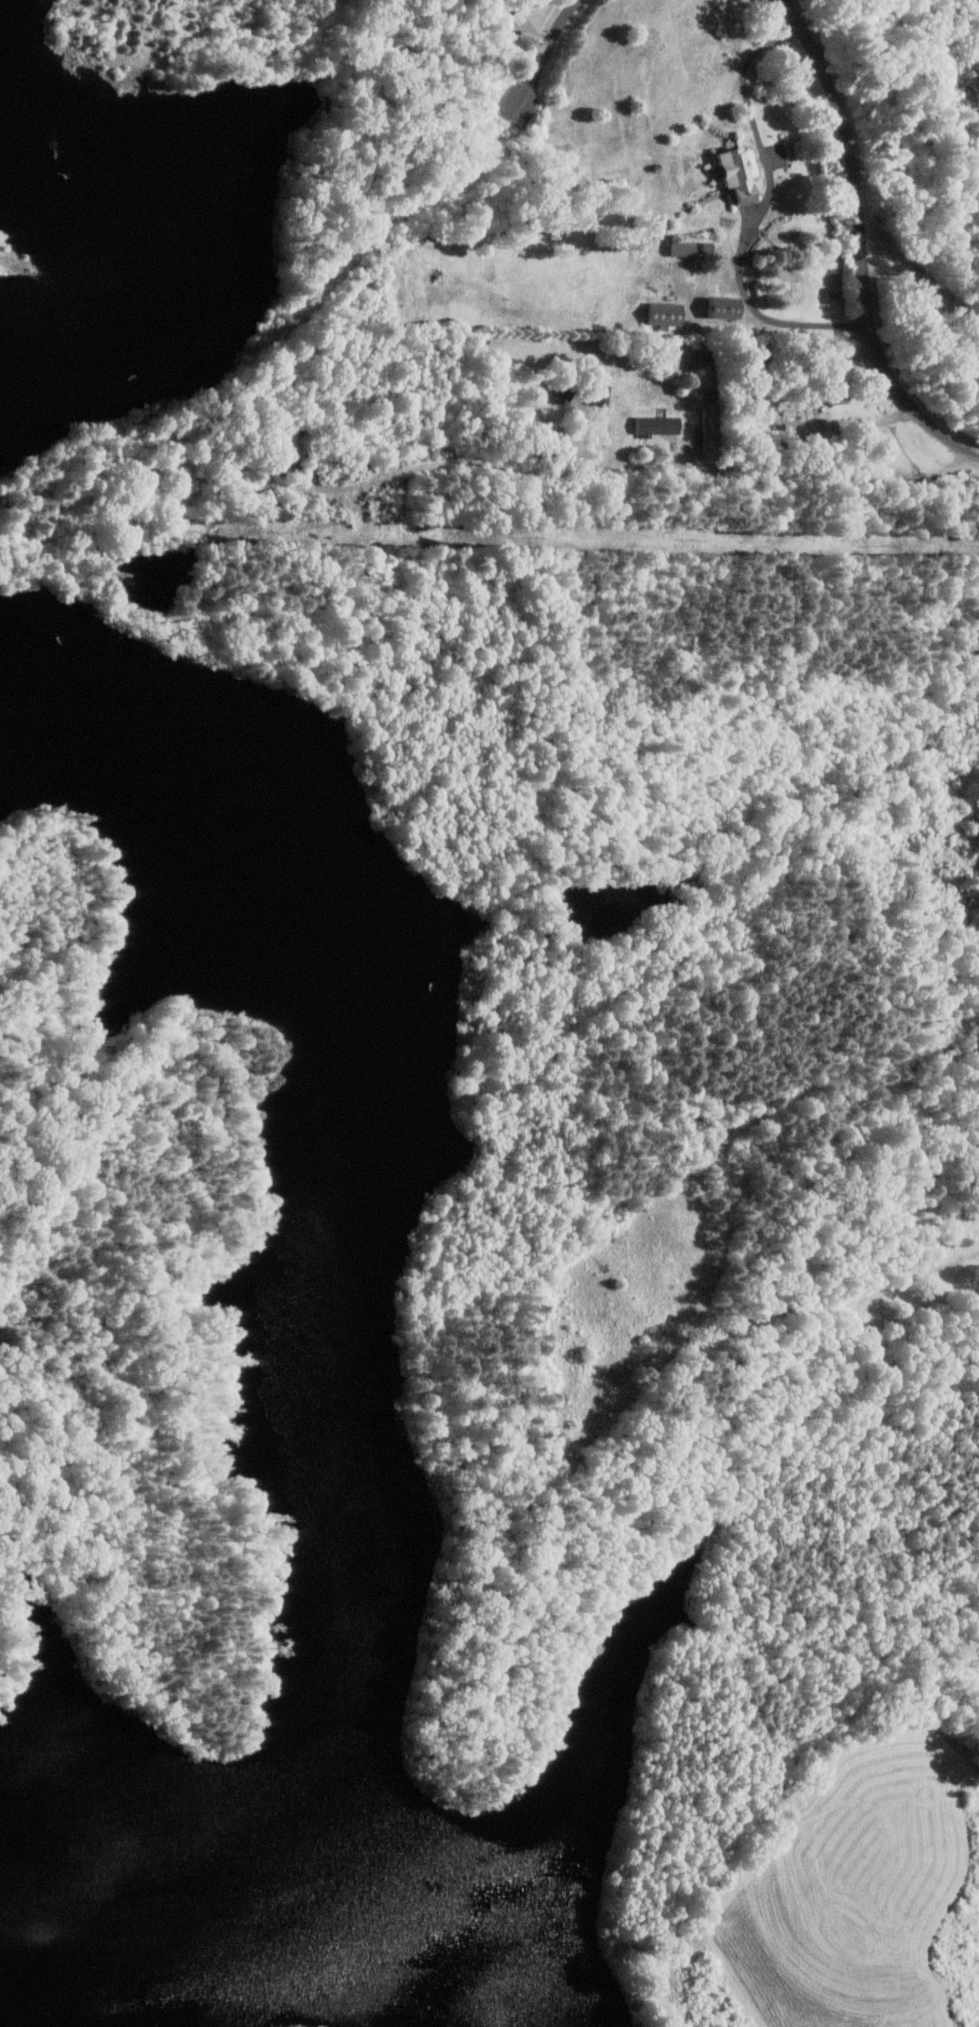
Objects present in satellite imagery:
road: (785, 3)
road: (540, 58)
building: (741, 173)
road: (761, 214)
road: (860, 242)
building: (684, 248)
road: (13, 263)
building: (724, 307)
building: (666, 314)
building: (601, 393)
building: (838, 395)
building: (658, 424)
road: (864, 424)
building: (709, 439)
road: (649, 466)
river: (152, 1843)
river: (354, 1989)

